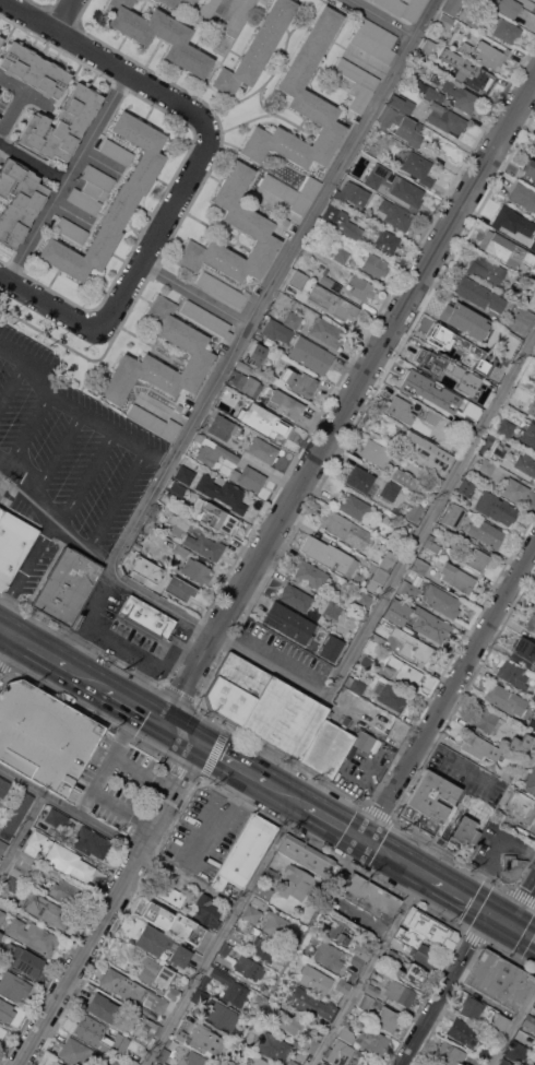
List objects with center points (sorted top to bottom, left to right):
building: (178, 4)
building: (506, 5)
building: (452, 7)
building: (403, 8)
building: (206, 9)
road: (224, 9)
road: (62, 14)
building: (239, 16)
building: (471, 16)
road: (385, 19)
building: (444, 21)
building: (506, 31)
building: (160, 35)
building: (0, 36)
building: (0, 38)
building: (374, 39)
building: (257, 48)
building: (465, 48)
building: (489, 55)
road: (110, 61)
road: (372, 63)
building: (34, 70)
building: (467, 70)
building: (357, 83)
road: (12, 85)
building: (429, 91)
building: (461, 96)
road: (17, 104)
building: (302, 104)
building: (405, 106)
building: (444, 118)
building: (61, 125)
building: (399, 126)
building: (372, 150)
building: (116, 152)
building: (534, 153)
building: (534, 155)
road: (32, 161)
building: (417, 167)
building: (530, 171)
road: (67, 175)
building: (395, 186)
building: (310, 187)
building: (92, 189)
building: (286, 193)
building: (352, 193)
building: (523, 196)
building: (19, 201)
building: (112, 202)
building: (396, 216)
building: (285, 221)
building: (512, 221)
building: (248, 222)
building: (343, 222)
road: (158, 226)
building: (71, 229)
building: (387, 240)
building: (533, 245)
building: (504, 249)
building: (341, 255)
building: (374, 264)
building: (485, 269)
building: (309, 272)
building: (317, 274)
building: (299, 280)
building: (325, 280)
road: (277, 282)
building: (361, 287)
building: (222, 289)
road: (195, 294)
building: (479, 294)
building: (531, 299)
building: (331, 301)
road: (48, 304)
building: (463, 316)
building: (206, 318)
building: (293, 320)
building: (521, 320)
building: (328, 332)
building: (449, 343)
building: (299, 346)
building: (510, 346)
building: (195, 351)
building: (258, 354)
building: (481, 354)
building: (429, 363)
building: (242, 367)
building: (298, 381)
road: (12, 382)
building: (245, 382)
building: (526, 382)
building: (469, 386)
building: (429, 394)
building: (234, 397)
building: (518, 397)
road: (348, 400)
building: (283, 403)
building: (483, 404)
building: (178, 407)
building: (531, 409)
building: (399, 410)
building: (471, 410)
road: (79, 411)
building: (154, 422)
building: (274, 425)
building: (496, 426)
building: (222, 427)
building: (507, 428)
building: (528, 434)
road: (29, 435)
parking lot: (68, 448)
building: (263, 450)
building: (497, 451)
building: (214, 452)
building: (376, 452)
building: (427, 453)
road: (59, 455)
building: (526, 463)
building: (486, 465)
building: (185, 474)
road: (88, 477)
building: (248, 477)
building: (437, 480)
building: (361, 481)
building: (411, 484)
building: (464, 488)
building: (514, 489)
building: (175, 490)
building: (222, 492)
building: (393, 496)
road: (120, 499)
building: (353, 507)
building: (416, 508)
building: (495, 508)
road: (53, 513)
road: (432, 514)
building: (213, 516)
building: (180, 521)
building: (445, 521)
building: (345, 529)
building: (146, 530)
building: (486, 533)
building: (431, 544)
building: (13, 545)
building: (135, 545)
building: (204, 546)
building: (180, 549)
building: (329, 555)
building: (477, 559)
building: (388, 560)
building: (419, 565)
building: (144, 569)
building: (195, 570)
building: (310, 573)
building: (380, 576)
building: (456, 577)
building: (66, 585)
building: (407, 587)
building: (192, 589)
building: (173, 595)
building: (298, 600)
building: (364, 600)
building: (441, 600)
building: (182, 601)
building: (534, 602)
building: (332, 610)
building: (397, 612)
road: (90, 615)
building: (146, 616)
building: (289, 623)
building: (531, 623)
building: (431, 625)
road: (3, 629)
road: (214, 634)
road: (3, 637)
building: (374, 642)
building: (329, 646)
building: (413, 646)
road: (37, 649)
building: (523, 652)
road: (135, 654)
road: (173, 656)
building: (368, 662)
building: (405, 672)
building: (513, 673)
road: (86, 678)
building: (355, 684)
road: (448, 687)
building: (235, 689)
building: (391, 695)
building: (533, 696)
building: (504, 699)
road: (135, 707)
building: (284, 718)
building: (488, 720)
traffic signals: (166, 724)
building: (531, 725)
road: (185, 735)
building: (44, 736)
building: (367, 742)
building: (478, 745)
building: (519, 745)
building: (533, 745)
building: (329, 746)
traffic signals: (203, 747)
road: (452, 754)
building: (352, 755)
road: (120, 760)
road: (235, 766)
road: (98, 772)
building: (507, 774)
building: (530, 782)
building: (3, 786)
road: (287, 795)
building: (468, 798)
building: (428, 802)
road: (110, 805)
building: (521, 806)
building: (17, 812)
building: (497, 816)
building: (55, 817)
road: (215, 817)
road: (333, 821)
building: (463, 833)
road: (23, 836)
road: (118, 838)
building: (90, 842)
building: (2, 845)
road: (489, 851)
building: (246, 852)
building: (305, 855)
building: (58, 856)
road: (396, 859)
building: (22, 865)
building: (511, 867)
building: (270, 875)
building: (12, 883)
building: (295, 883)
road: (445, 887)
building: (67, 891)
building: (264, 891)
building: (171, 895)
building: (367, 895)
building: (257, 901)
road: (522, 902)
road: (473, 903)
road: (111, 907)
building: (44, 909)
building: (225, 909)
building: (158, 911)
building: (206, 911)
traffic signals: (488, 912)
building: (251, 913)
road: (499, 918)
building: (2, 919)
building: (275, 923)
traffic signals: (510, 924)
building: (431, 928)
building: (340, 931)
road: (522, 931)
building: (0, 933)
road: (222, 933)
building: (0, 934)
building: (360, 934)
building: (33, 935)
building: (236, 937)
building: (267, 937)
building: (201, 938)
building: (403, 938)
building: (162, 945)
building: (225, 948)
building: (262, 948)
road: (294, 950)
building: (362, 950)
building: (424, 954)
building: (328, 955)
building: (394, 956)
building: (23, 960)
building: (356, 960)
building: (249, 968)
road: (368, 970)
building: (155, 972)
building: (414, 974)
building: (316, 979)
building: (499, 980)
building: (13, 985)
building: (122, 985)
building: (343, 985)
building: (226, 986)
building: (372, 987)
road: (443, 989)
building: (173, 992)
building: (401, 993)
building: (200, 996)
building: (156, 1002)
building: (309, 1003)
building: (103, 1007)
building: (471, 1007)
building: (5, 1010)
building: (380, 1013)
building: (221, 1017)
building: (287, 1020)
building: (528, 1021)
building: (120, 1022)
building: (498, 1023)
road: (513, 1028)
building: (145, 1030)
building: (1, 1031)
building: (463, 1032)
building: (180, 1034)
building: (206, 1040)
building: (373, 1041)
building: (119, 1043)
building: (310, 1044)
building: (274, 1048)
building: (341, 1049)
building: (75, 1052)
building: (484, 1052)
building: (516, 1052)
building: (163, 1054)
building: (450, 1054)
building: (192, 1058)
building: (130, 1061)
building: (260, 1061)
building: (109, 1062)
building: (506, 1062)
building: (293, 1063)
building: (528, 1063)
building: (57, 1064)
building: (59, 1064)
building: (323, 1064)
building: (432, 1064)
building: (465, 1064)

